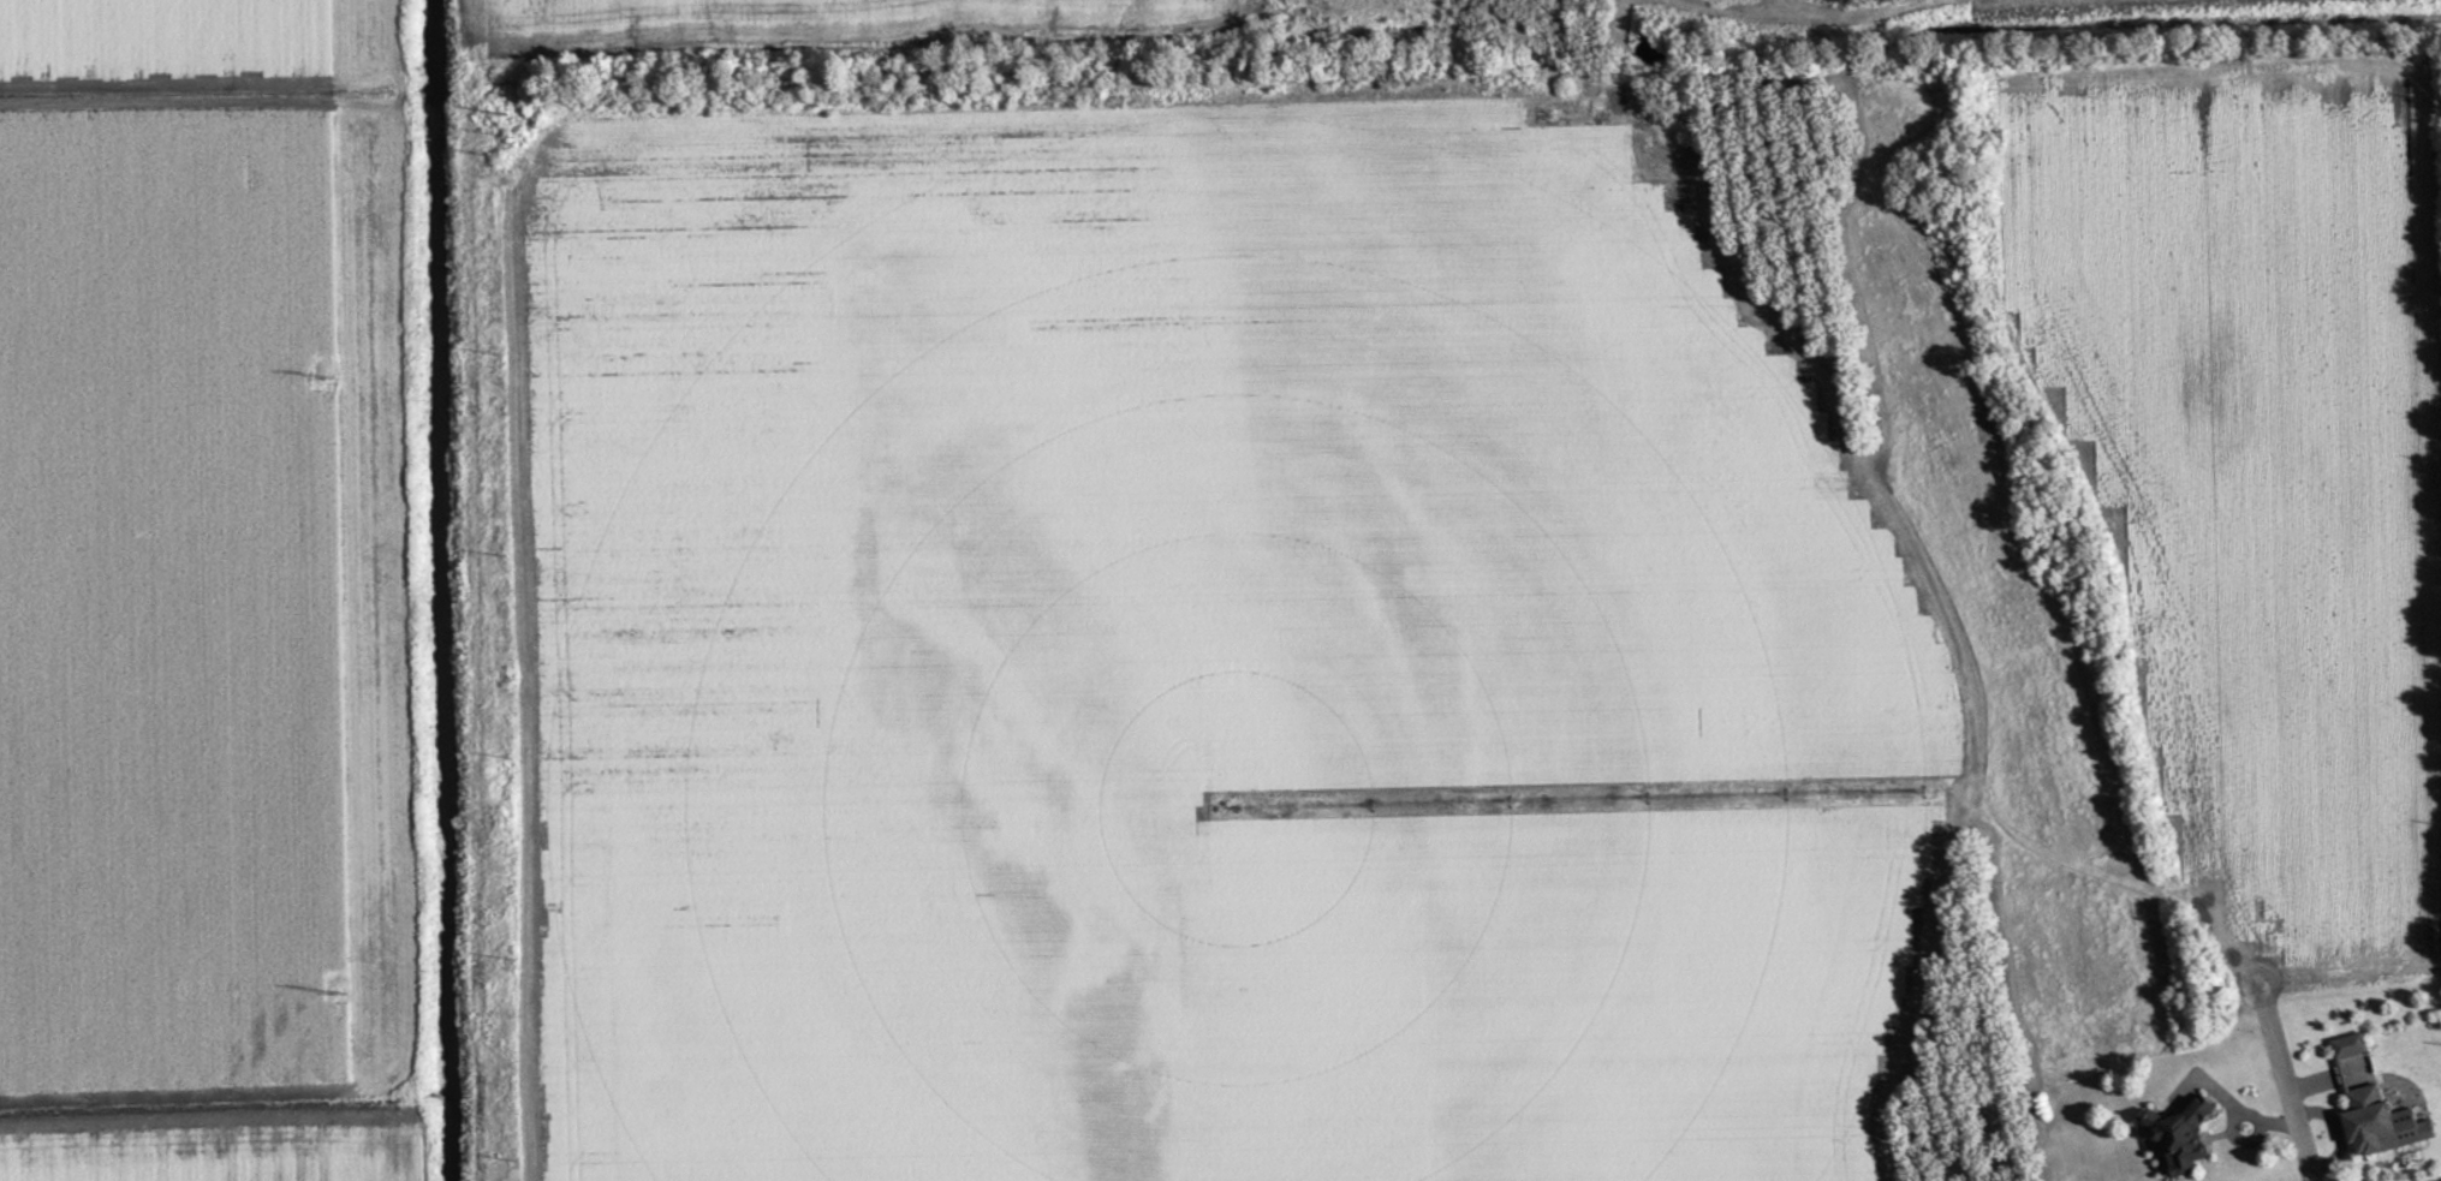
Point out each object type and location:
road: (2291, 1081)
building: (2379, 1101)
building: (2187, 1133)

